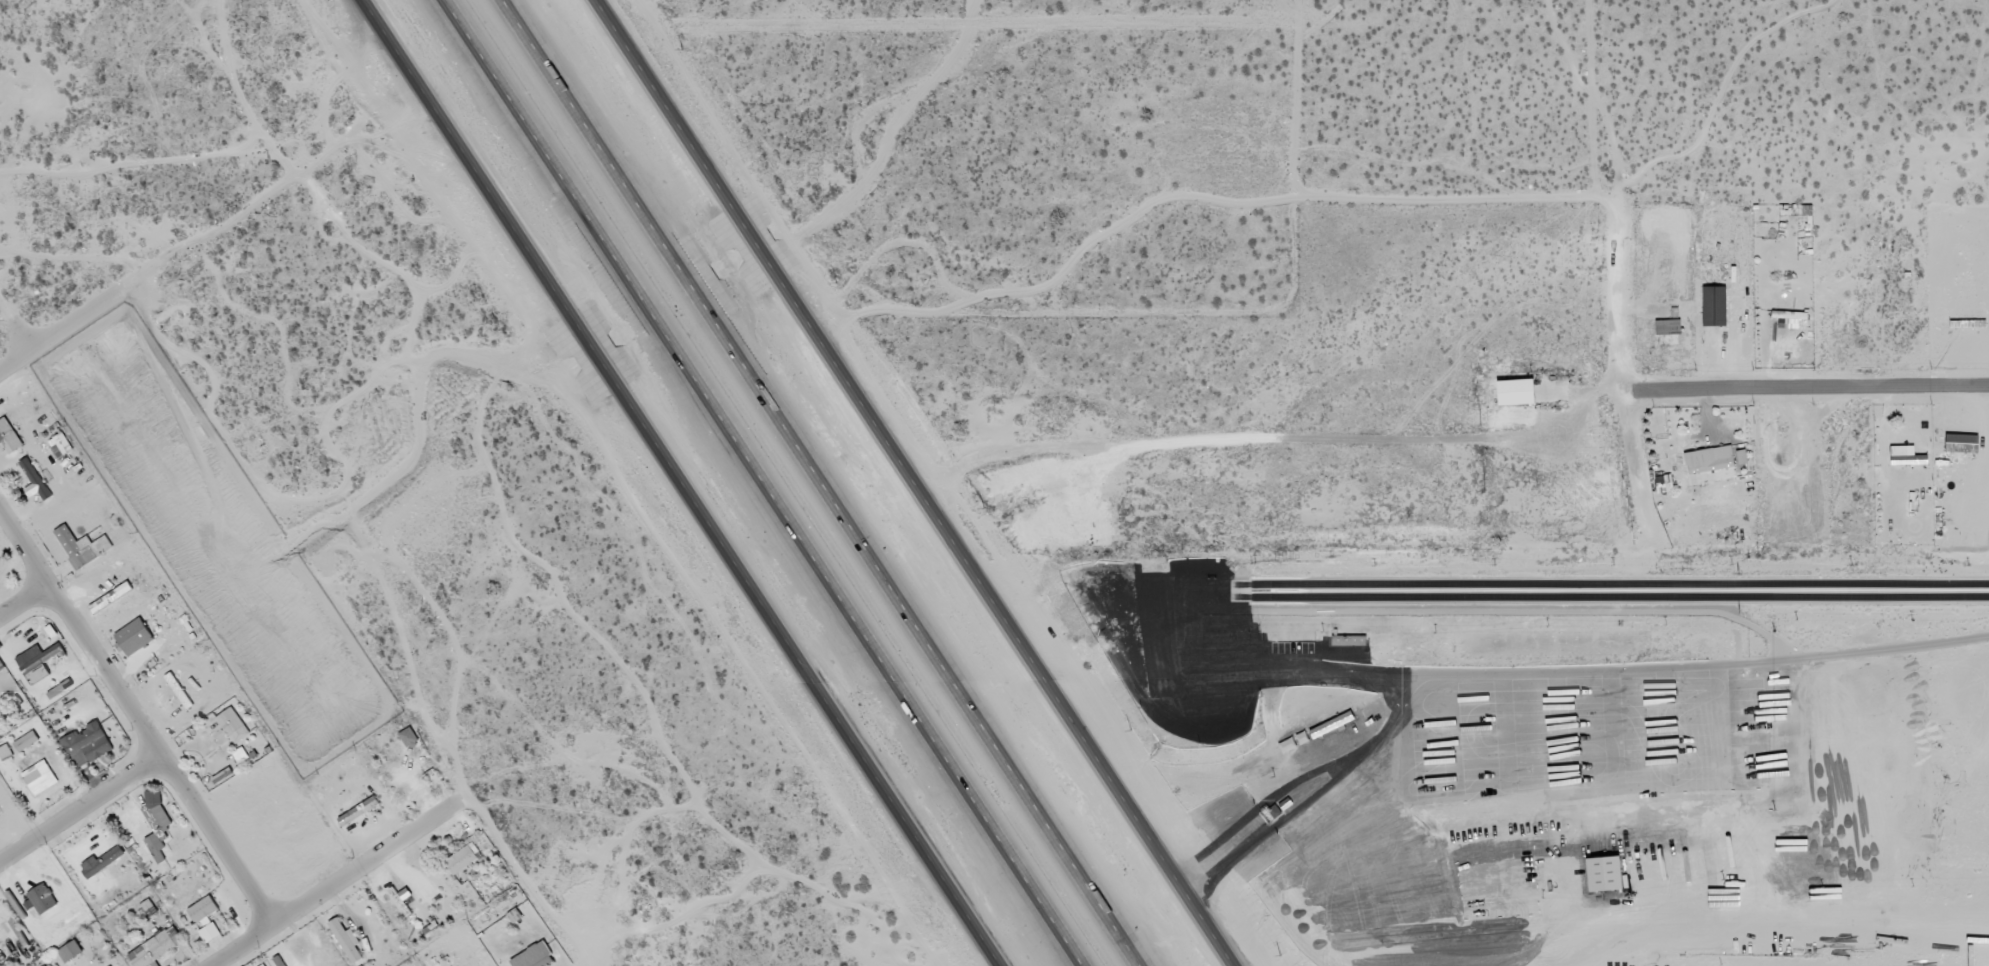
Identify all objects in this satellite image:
road: (723, 42)
building: (1709, 305)
road: (57, 316)
road: (14, 322)
building: (1667, 327)
road: (1624, 368)
road: (1807, 387)
building: (1515, 393)
building: (8, 437)
road: (1988, 437)
building: (60, 446)
building: (1708, 460)
building: (35, 480)
road: (914, 482)
road: (681, 483)
road: (762, 483)
road: (817, 483)
building: (1663, 484)
building: (81, 548)
road: (19, 584)
building: (133, 638)
building: (36, 663)
road: (128, 710)
building: (232, 726)
building: (408, 738)
building: (25, 742)
building: (86, 745)
building: (4, 752)
building: (240, 756)
building: (39, 778)
road: (74, 791)
building: (357, 812)
building: (156, 814)
building: (155, 848)
building: (462, 859)
building: (101, 862)
road: (317, 875)
building: (42, 900)
building: (147, 909)
building: (202, 910)
building: (209, 933)
building: (346, 941)
building: (155, 948)
building: (70, 952)
building: (534, 957)
building: (0, 962)
building: (261, 965)

